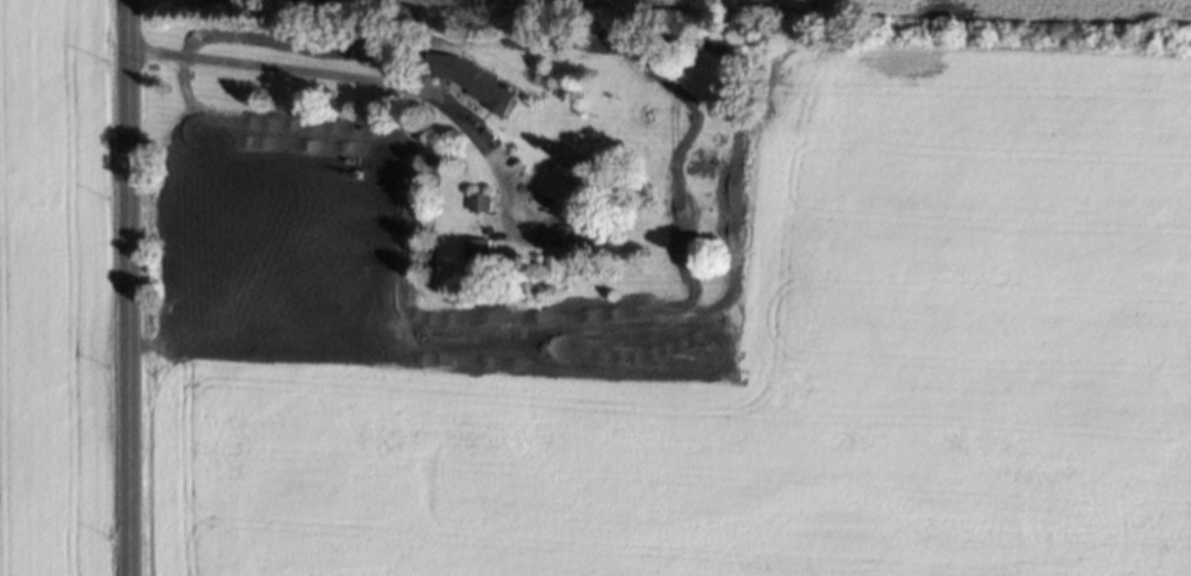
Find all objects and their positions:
crop: (825, 7)
road: (354, 81)
building: (484, 85)
building: (477, 200)
building: (471, 250)
building: (548, 264)
crop: (45, 287)
road: (124, 287)

